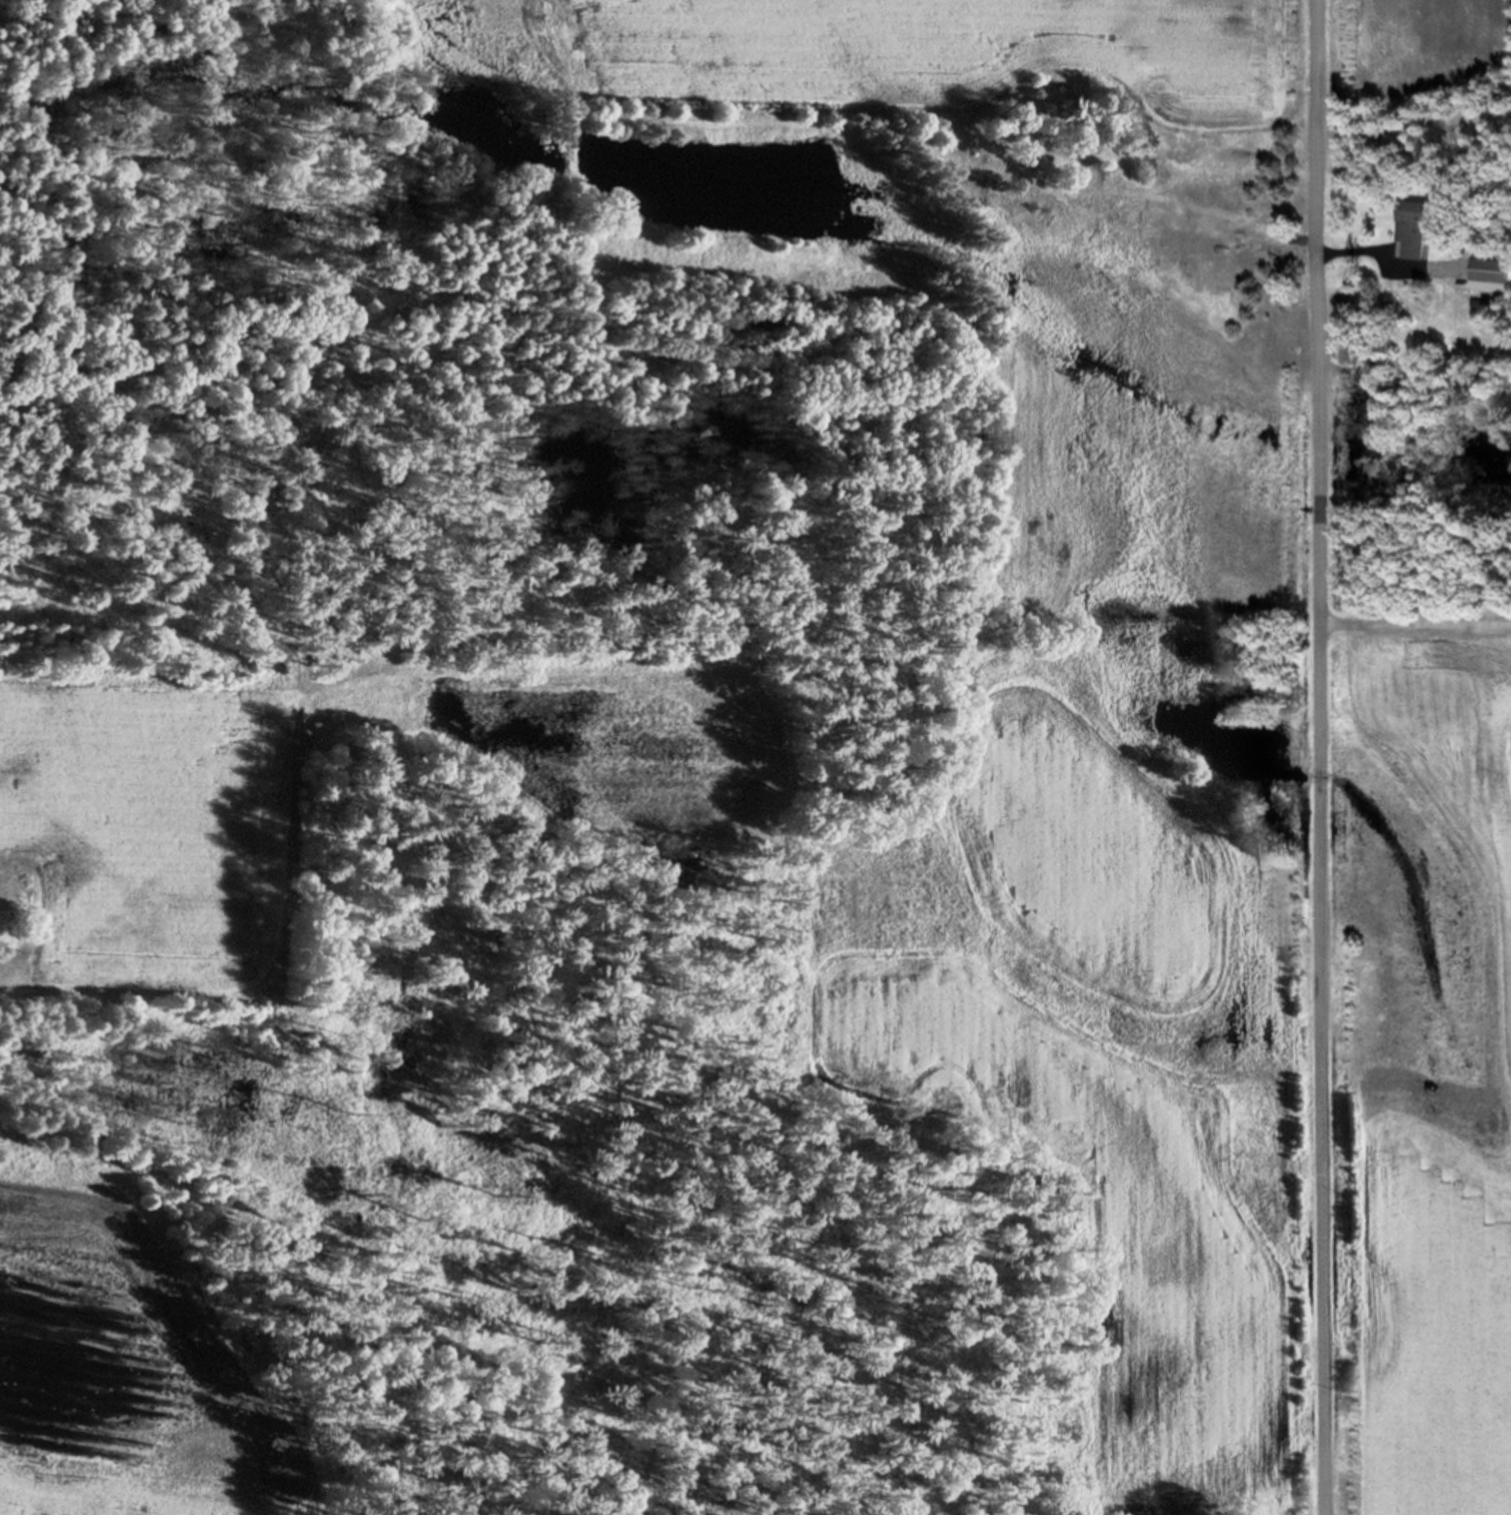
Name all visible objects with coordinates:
building: (1412, 232)
building: (1489, 272)
road: (1413, 622)
road: (1317, 757)

